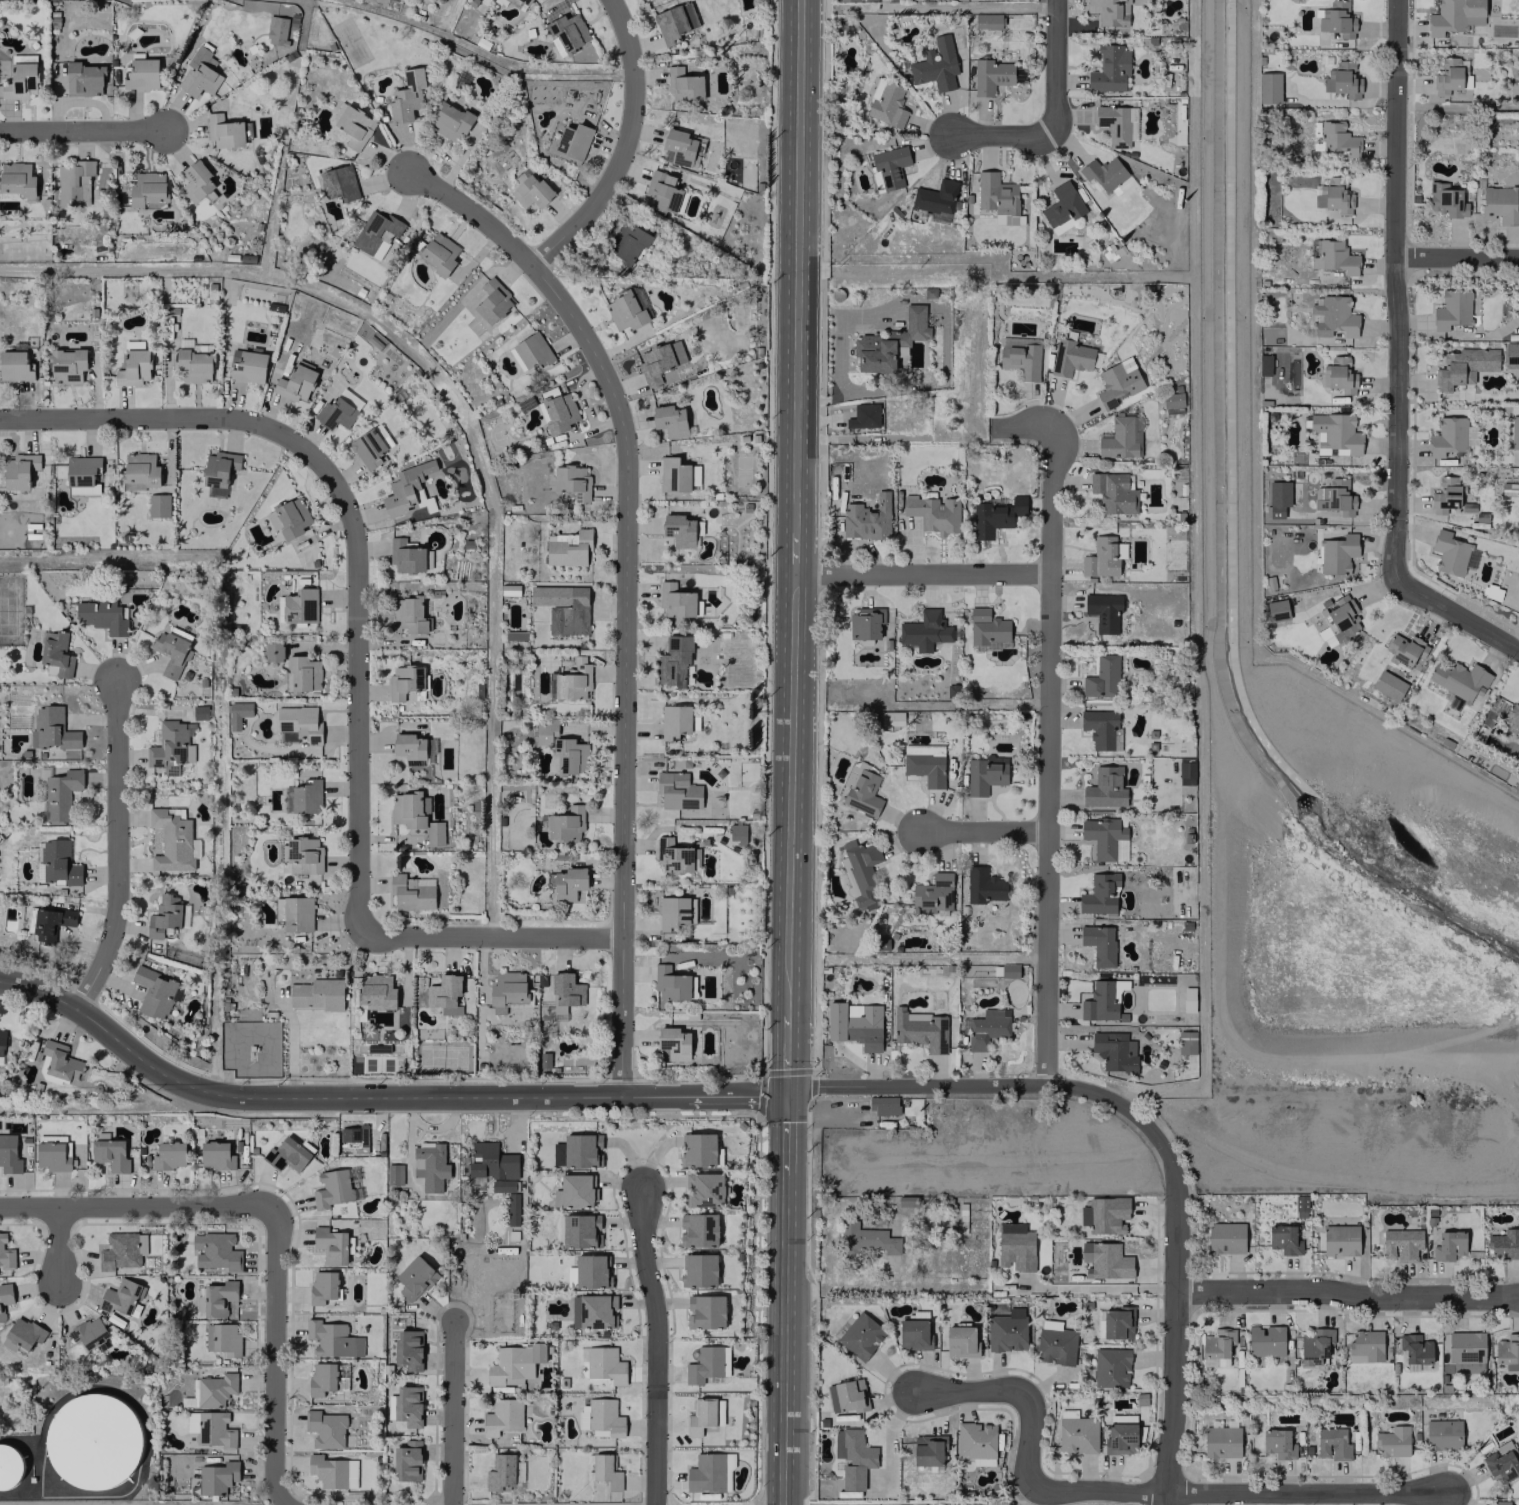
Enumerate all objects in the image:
building: (847, 0)
building: (526, 2)
building: (1108, 11)
building: (1454, 16)
building: (1337, 19)
building: (987, 21)
building: (670, 23)
building: (278, 30)
building: (567, 32)
building: (936, 65)
road: (1055, 68)
building: (1109, 69)
building: (141, 74)
building: (991, 76)
building: (1448, 76)
building: (21, 77)
building: (86, 78)
building: (1345, 79)
building: (684, 85)
building: (1269, 87)
building: (407, 95)
building: (888, 105)
building: (450, 121)
building: (1117, 124)
building: (354, 126)
road: (85, 130)
building: (224, 131)
road: (1002, 135)
building: (1338, 140)
building: (679, 146)
building: (888, 166)
building: (1108, 175)
building: (17, 178)
building: (196, 181)
building: (338, 182)
building: (74, 183)
building: (148, 190)
building: (531, 191)
building: (662, 191)
building: (1334, 195)
building: (998, 198)
building: (936, 199)
building: (1447, 200)
building: (1500, 204)
building: (1062, 205)
road: (471, 212)
building: (377, 233)
building: (630, 241)
building: (1111, 252)
building: (439, 253)
building: (1334, 257)
road: (1457, 257)
road: (797, 285)
road: (1396, 287)
building: (492, 301)
building: (625, 310)
building: (1334, 316)
road: (944, 323)
building: (889, 342)
building: (533, 350)
building: (1511, 354)
building: (1020, 357)
building: (1070, 357)
building: (193, 362)
building: (655, 363)
building: (67, 364)
building: (15, 365)
building: (133, 365)
building: (247, 365)
building: (1463, 366)
building: (1341, 375)
building: (1172, 402)
building: (338, 409)
building: (558, 412)
building: (863, 416)
road: (150, 417)
building: (670, 419)
road: (1030, 424)
building: (1337, 432)
building: (1514, 432)
building: (1471, 435)
building: (1447, 436)
building: (1121, 437)
building: (371, 446)
building: (141, 469)
building: (19, 471)
building: (218, 471)
building: (82, 474)
building: (673, 474)
building: (1506, 480)
building: (572, 481)
building: (405, 487)
building: (1113, 492)
building: (1449, 496)
building: (1334, 497)
building: (1278, 498)
building: (158, 505)
building: (934, 513)
road: (623, 515)
building: (995, 516)
building: (289, 518)
building: (867, 519)
building: (679, 529)
building: (568, 547)
building: (1337, 553)
building: (1451, 553)
building: (406, 555)
building: (1101, 557)
road: (922, 572)
building: (676, 600)
building: (297, 606)
building: (1277, 609)
building: (1103, 611)
road: (1454, 613)
building: (102, 615)
building: (408, 615)
building: (569, 618)
building: (864, 625)
building: (987, 630)
building: (925, 631)
building: (171, 649)
building: (273, 651)
building: (57, 653)
building: (673, 661)
building: (304, 673)
road: (356, 677)
building: (1102, 677)
building: (1458, 679)
building: (573, 680)
building: (404, 681)
building: (1389, 685)
building: (200, 712)
building: (237, 714)
building: (1512, 715)
building: (674, 720)
building: (298, 724)
building: (1101, 728)
building: (52, 729)
building: (171, 747)
building: (410, 748)
building: (562, 748)
building: (686, 762)
building: (925, 763)
road: (1046, 763)
building: (719, 772)
building: (1186, 773)
building: (985, 774)
building: (1105, 788)
building: (677, 790)
road: (793, 791)
building: (60, 793)
building: (863, 793)
building: (303, 797)
building: (410, 809)
building: (566, 823)
road: (982, 830)
building: (435, 833)
building: (737, 833)
building: (1105, 838)
building: (173, 840)
road: (115, 846)
building: (302, 855)
building: (673, 855)
building: (59, 863)
building: (862, 872)
building: (567, 883)
building: (984, 885)
building: (414, 893)
building: (1099, 893)
building: (932, 894)
building: (672, 911)
building: (297, 914)
building: (163, 916)
building: (50, 922)
road: (491, 936)
building: (1099, 943)
building: (1009, 970)
building: (670, 983)
building: (508, 990)
building: (376, 991)
building: (566, 991)
building: (156, 992)
building: (317, 993)
building: (445, 993)
building: (1100, 1002)
building: (855, 1025)
building: (987, 1028)
building: (1186, 1042)
building: (674, 1043)
building: (1, 1046)
road: (788, 1051)
building: (1114, 1051)
dam: (1398, 1052)
building: (61, 1061)
road: (1057, 1087)
road: (327, 1096)
road: (735, 1096)
building: (884, 1105)
road: (784, 1132)
building: (354, 1138)
building: (697, 1149)
building: (577, 1151)
building: (9, 1154)
building: (110, 1154)
building: (286, 1154)
building: (169, 1155)
building: (216, 1155)
building: (53, 1156)
building: (491, 1161)
building: (430, 1165)
building: (394, 1174)
building: (503, 1186)
building: (334, 1189)
building: (704, 1189)
building: (573, 1191)
road: (134, 1207)
building: (512, 1210)
building: (1105, 1214)
building: (699, 1229)
building: (581, 1230)
building: (866, 1238)
building: (1225, 1238)
building: (1283, 1239)
building: (1340, 1240)
building: (330, 1244)
building: (1402, 1244)
building: (1504, 1244)
road: (56, 1245)
building: (1449, 1245)
building: (1016, 1247)
building: (122, 1250)
building: (214, 1251)
building: (1109, 1261)
building: (699, 1270)
building: (590, 1271)
building: (570, 1275)
building: (414, 1278)
building: (322, 1286)
road: (1100, 1289)
road: (1348, 1294)
building: (120, 1296)
building: (218, 1297)
building: (5, 1298)
building: (591, 1311)
building: (706, 1311)
building: (1116, 1322)
building: (89, 1332)
building: (1006, 1333)
building: (22, 1334)
building: (913, 1334)
building: (861, 1335)
building: (223, 1339)
building: (332, 1339)
road: (782, 1339)
building: (1266, 1340)
building: (961, 1341)
road: (654, 1345)
building: (1056, 1345)
building: (1367, 1345)
building: (1315, 1346)
building: (1217, 1347)
building: (408, 1348)
building: (1415, 1348)
building: (1466, 1351)
building: (1508, 1351)
road: (272, 1358)
building: (514, 1363)
building: (707, 1364)
building: (605, 1365)
building: (1111, 1367)
building: (322, 1378)
building: (215, 1389)
road: (971, 1392)
road: (1176, 1398)
building: (408, 1405)
road: (452, 1412)
building: (502, 1416)
building: (700, 1416)
building: (604, 1417)
building: (325, 1428)
building: (215, 1430)
building: (1077, 1434)
building: (1443, 1434)
road: (889, 1438)
building: (1120, 1438)
building: (976, 1440)
building: (93, 1441)
storage tank: (93, 1441)
building: (1221, 1441)
building: (1393, 1441)
building: (1280, 1444)
building: (1333, 1444)
building: (928, 1450)
building: (853, 1457)
building: (407, 1460)
building: (1500, 1463)
building: (9, 1466)
storage tank: (9, 1466)
building: (333, 1471)
building: (500, 1471)
building: (606, 1471)
building: (710, 1473)
building: (217, 1477)
road: (1197, 1493)
building: (1507, 1504)

